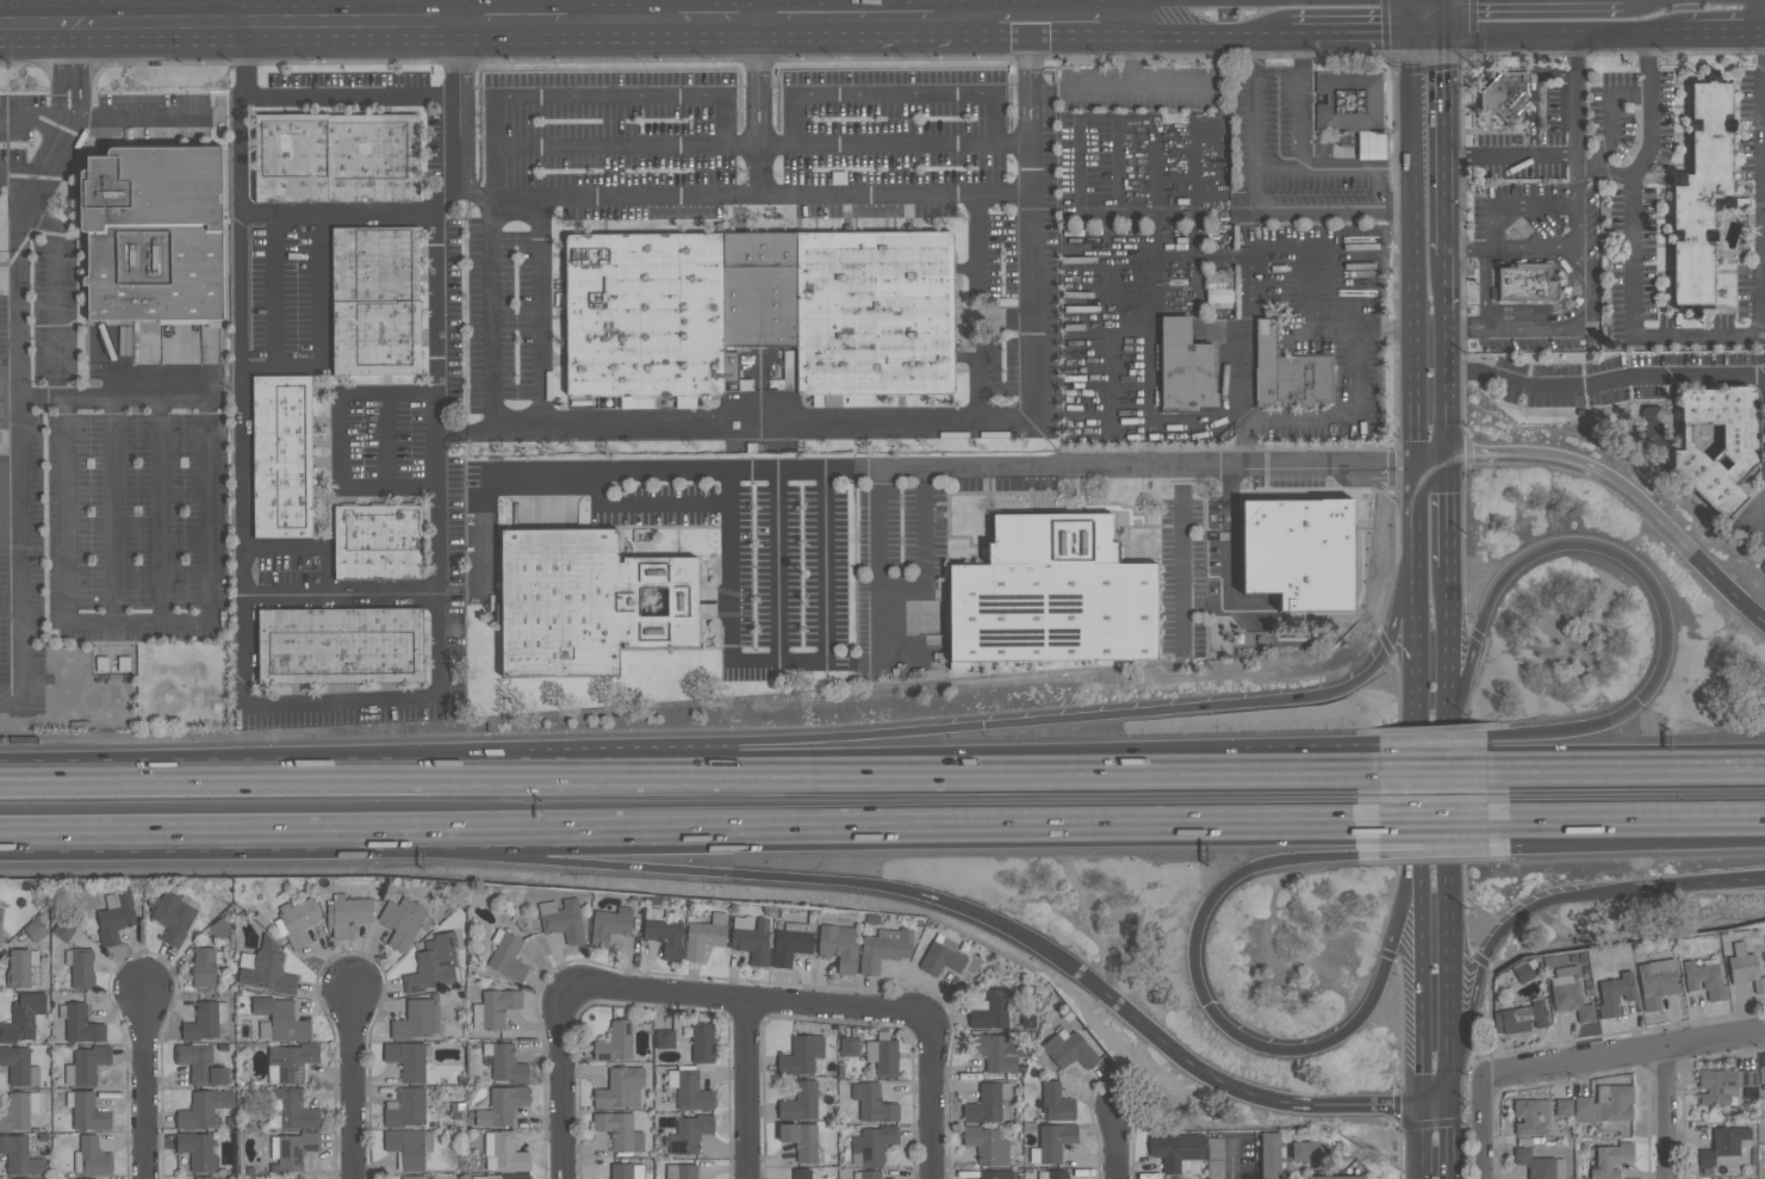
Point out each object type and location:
road: (1757, 5)
road: (470, 8)
road: (664, 8)
road: (806, 8)
road: (956, 8)
road: (1043, 8)
road: (73, 11)
road: (1413, 17)
road: (615, 18)
road: (1112, 18)
road: (1441, 18)
road: (139, 21)
road: (37, 23)
road: (1727, 31)
road: (1561, 32)
road: (1348, 33)
road: (1151, 35)
traffic signals: (1413, 35)
road: (1428, 35)
traffic signals: (1442, 36)
road: (69, 39)
road: (1135, 85)
road: (56, 88)
road: (77, 88)
road: (1099, 88)
building: (1505, 94)
road: (891, 95)
road: (349, 97)
road: (596, 98)
road: (1300, 100)
road: (1576, 101)
building: (1349, 103)
road: (33, 122)
road: (138, 122)
road: (890, 143)
road: (608, 144)
road: (1442, 147)
road: (1510, 156)
building: (335, 157)
road: (43, 166)
road: (1335, 167)
road: (20, 170)
road: (1609, 172)
road: (1578, 188)
building: (1697, 192)
road: (472, 194)
road: (803, 196)
road: (623, 198)
road: (1253, 200)
road: (1517, 206)
road: (338, 217)
parking lot: (1542, 218)
road: (1579, 227)
building: (154, 235)
road: (1553, 248)
building: (1083, 250)
road: (1636, 253)
road: (1415, 269)
road: (1444, 283)
building: (1524, 283)
building: (1217, 288)
road: (272, 292)
building: (375, 300)
building: (756, 310)
road: (974, 310)
road: (492, 314)
road: (1002, 319)
road: (317, 327)
road: (1465, 329)
parking lot: (1523, 329)
road: (1533, 329)
road: (242, 364)
building: (1182, 366)
building: (1287, 372)
road: (1604, 381)
road: (1444, 383)
road: (42, 401)
road: (1149, 420)
road: (1350, 420)
road: (967, 424)
road: (465, 429)
building: (1655, 434)
road: (337, 440)
road: (437, 449)
building: (1735, 454)
building: (281, 455)
road: (1485, 455)
traffic signals: (1444, 458)
road: (1429, 459)
traffic signals: (1415, 461)
road: (21, 469)
road: (951, 470)
road: (647, 503)
road: (1446, 513)
road: (1655, 519)
parking lot: (125, 527)
building: (377, 541)
road: (284, 547)
road: (1627, 561)
road: (777, 567)
road: (327, 572)
road: (916, 590)
road: (340, 594)
building: (1050, 595)
building: (585, 602)
road: (1207, 604)
road: (102, 621)
road: (1417, 632)
building: (340, 645)
road: (779, 663)
road: (1449, 663)
road: (1325, 693)
road: (826, 736)
road: (1447, 756)
road: (1627, 763)
road: (259, 764)
road: (949, 764)
road: (1447, 765)
road: (1393, 767)
road: (1450, 782)
road: (1421, 786)
road: (1627, 826)
road: (1436, 829)
road: (884, 830)
road: (193, 832)
road: (1528, 836)
road: (1436, 849)
road: (739, 875)
road: (1691, 886)
building: (347, 913)
building: (0, 914)
building: (114, 916)
building: (172, 916)
building: (563, 919)
building: (296, 920)
building: (404, 922)
building: (609, 925)
building: (219, 927)
building: (35, 930)
building: (663, 932)
building: (0, 933)
building: (704, 936)
road: (1421, 937)
building: (751, 938)
building: (794, 939)
road: (1452, 941)
road: (1494, 942)
building: (839, 945)
building: (884, 948)
building: (506, 955)
building: (940, 956)
building: (433, 963)
building: (77, 966)
building: (205, 966)
building: (20, 967)
building: (1745, 967)
building: (265, 968)
building: (1522, 970)
building: (1703, 978)
building: (1657, 981)
building: (1572, 993)
building: (1615, 993)
road: (748, 1005)
building: (493, 1009)
building: (989, 1009)
building: (24, 1016)
building: (1523, 1017)
building: (280, 1019)
building: (205, 1020)
building: (416, 1020)
building: (81, 1024)
road: (1226, 1028)
building: (665, 1038)
building: (615, 1042)
building: (702, 1042)
building: (849, 1045)
building: (1069, 1049)
road: (1627, 1049)
building: (996, 1051)
building: (801, 1054)
building: (883, 1055)
building: (408, 1059)
building: (290, 1061)
building: (504, 1062)
road: (1188, 1062)
building: (87, 1063)
building: (200, 1063)
building: (18, 1066)
building: (1761, 1075)
road: (1581, 1078)
road: (144, 1084)
road: (565, 1084)
building: (1724, 1085)
road: (354, 1086)
road: (1419, 1086)
building: (620, 1087)
building: (689, 1088)
road: (744, 1092)
road: (1452, 1093)
road: (931, 1094)
building: (800, 1102)
building: (872, 1103)
building: (987, 1103)
building: (1056, 1103)
building: (1604, 1104)
road: (1373, 1105)
building: (502, 1106)
building: (405, 1107)
building: (1562, 1107)
building: (204, 1109)
building: (291, 1109)
building: (19, 1110)
traffic signals: (1419, 1110)
building: (87, 1111)
road: (1660, 1111)
road: (1435, 1112)
traffic signals: (1452, 1115)
building: (1531, 1116)
road: (1479, 1123)
building: (619, 1131)
building: (689, 1133)
building: (800, 1140)
building: (1052, 1142)
building: (1722, 1143)
building: (872, 1144)
building: (987, 1144)
road: (1419, 1144)
building: (409, 1147)
road: (1117, 1147)
road: (1452, 1147)
building: (292, 1149)
building: (1176, 1149)
building: (198, 1150)
building: (1310, 1150)
building: (503, 1152)
building: (19, 1155)
building: (1269, 1155)
building: (92, 1158)
road: (1232, 1159)
building: (1610, 1160)
building: (1214, 1161)
building: (1539, 1165)
building: (626, 1171)
building: (682, 1172)
building: (801, 1174)
building: (866, 1174)
building: (996, 1174)
building: (1052, 1174)
building: (503, 1175)
building: (292, 1177)
building: (414, 1177)
building: (1336, 1177)
building: (209, 1178)

